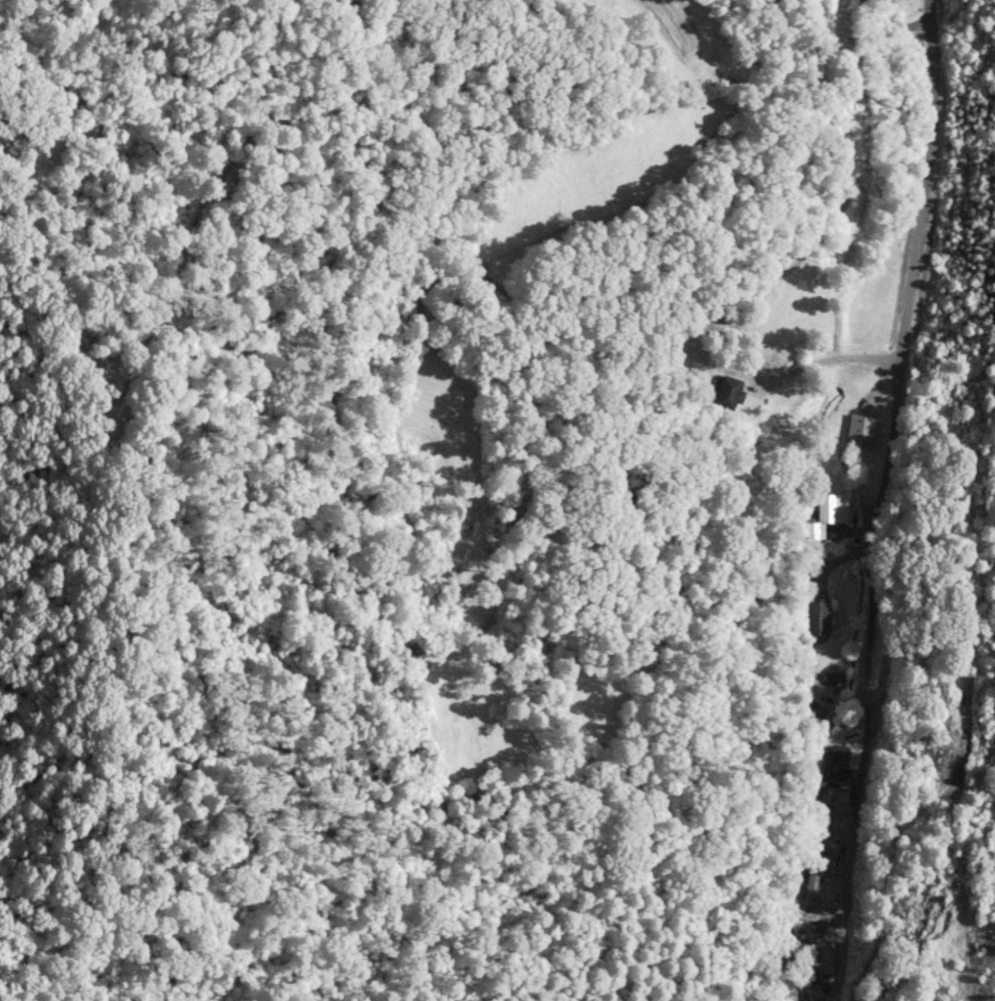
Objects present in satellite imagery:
road: (889, 23)
building: (726, 392)
building: (858, 432)
road: (873, 500)
building: (821, 517)
building: (817, 618)
building: (836, 762)
building: (810, 884)
building: (814, 917)
building: (813, 944)

